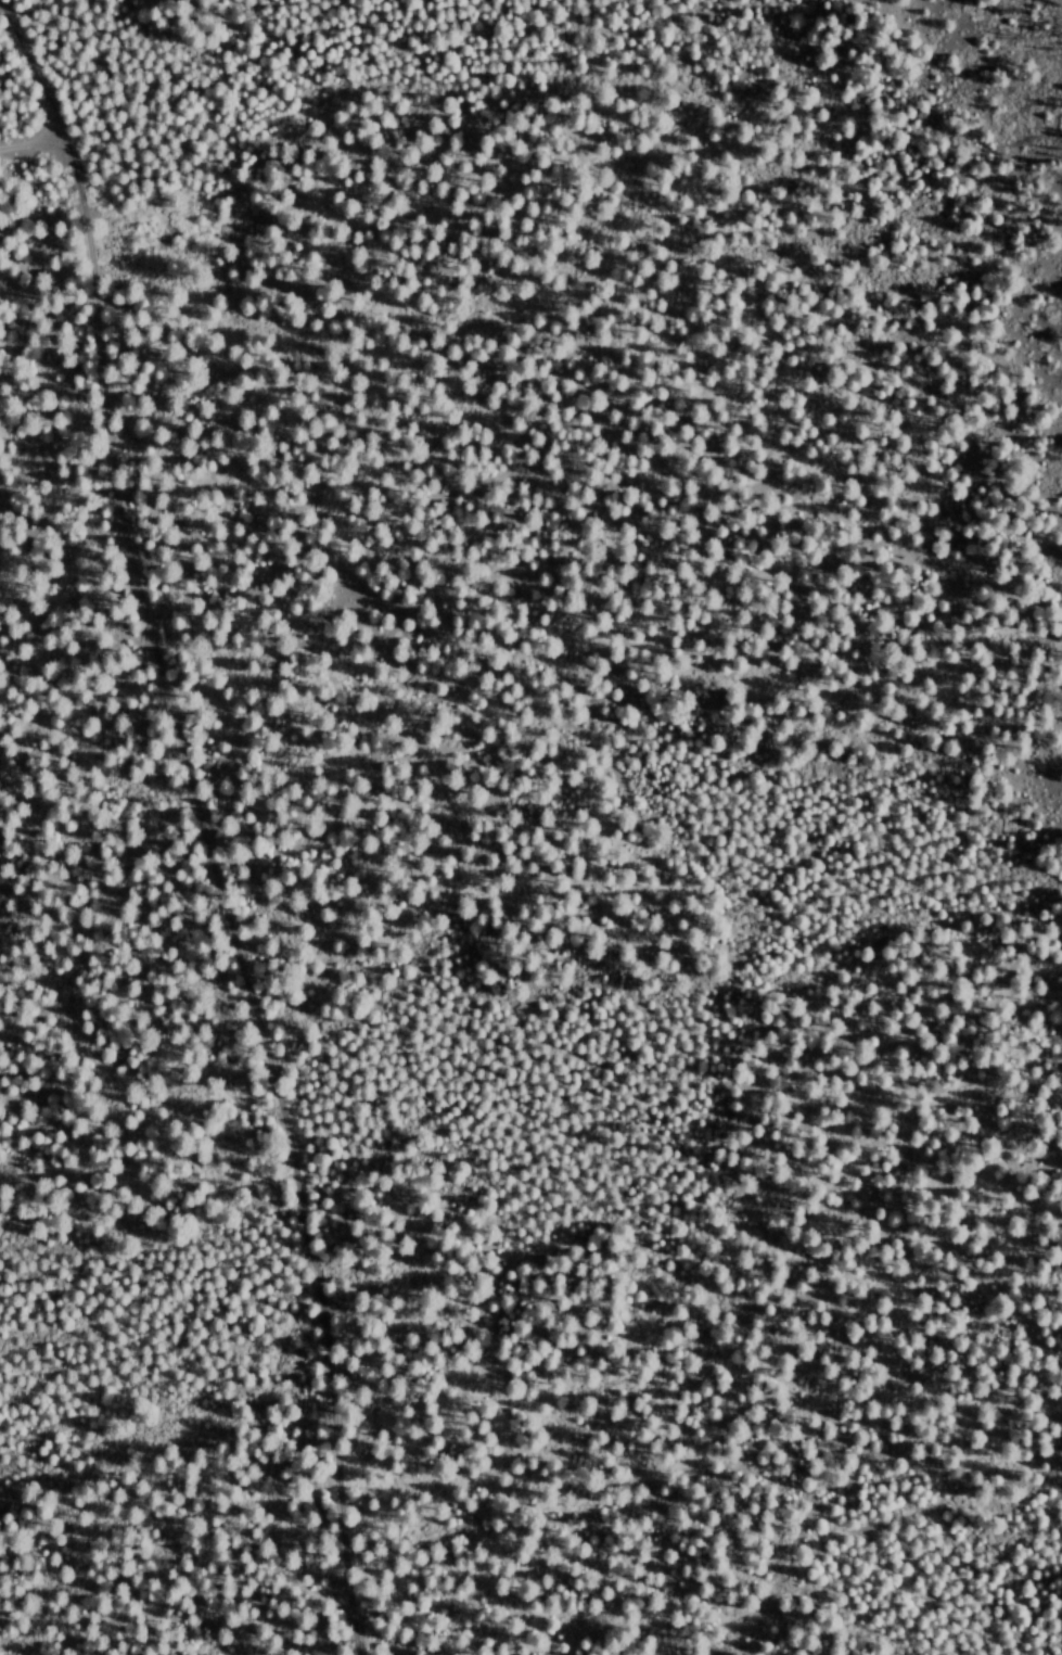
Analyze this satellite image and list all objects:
road: (205, 824)

